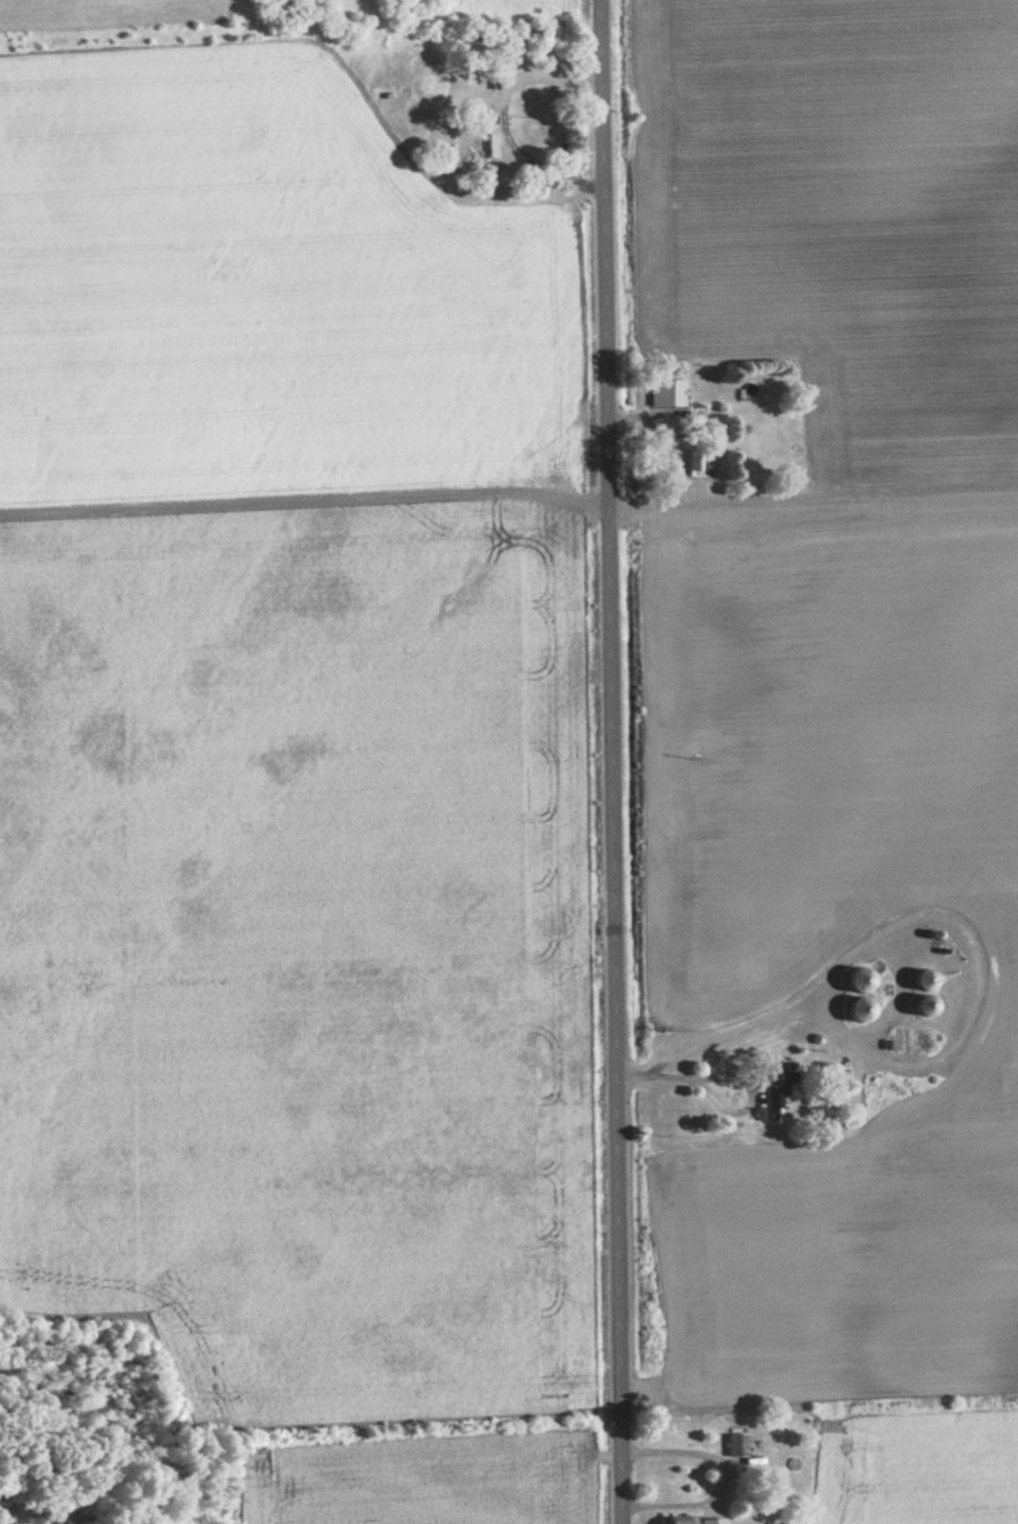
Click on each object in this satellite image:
building: (390, 3)
building: (664, 391)
building: (694, 462)
road: (813, 489)
road: (304, 511)
road: (612, 762)
building: (861, 979)
building: (926, 979)
building: (928, 1005)
building: (862, 1009)
building: (775, 1098)
building: (736, 1445)
building: (695, 1520)

